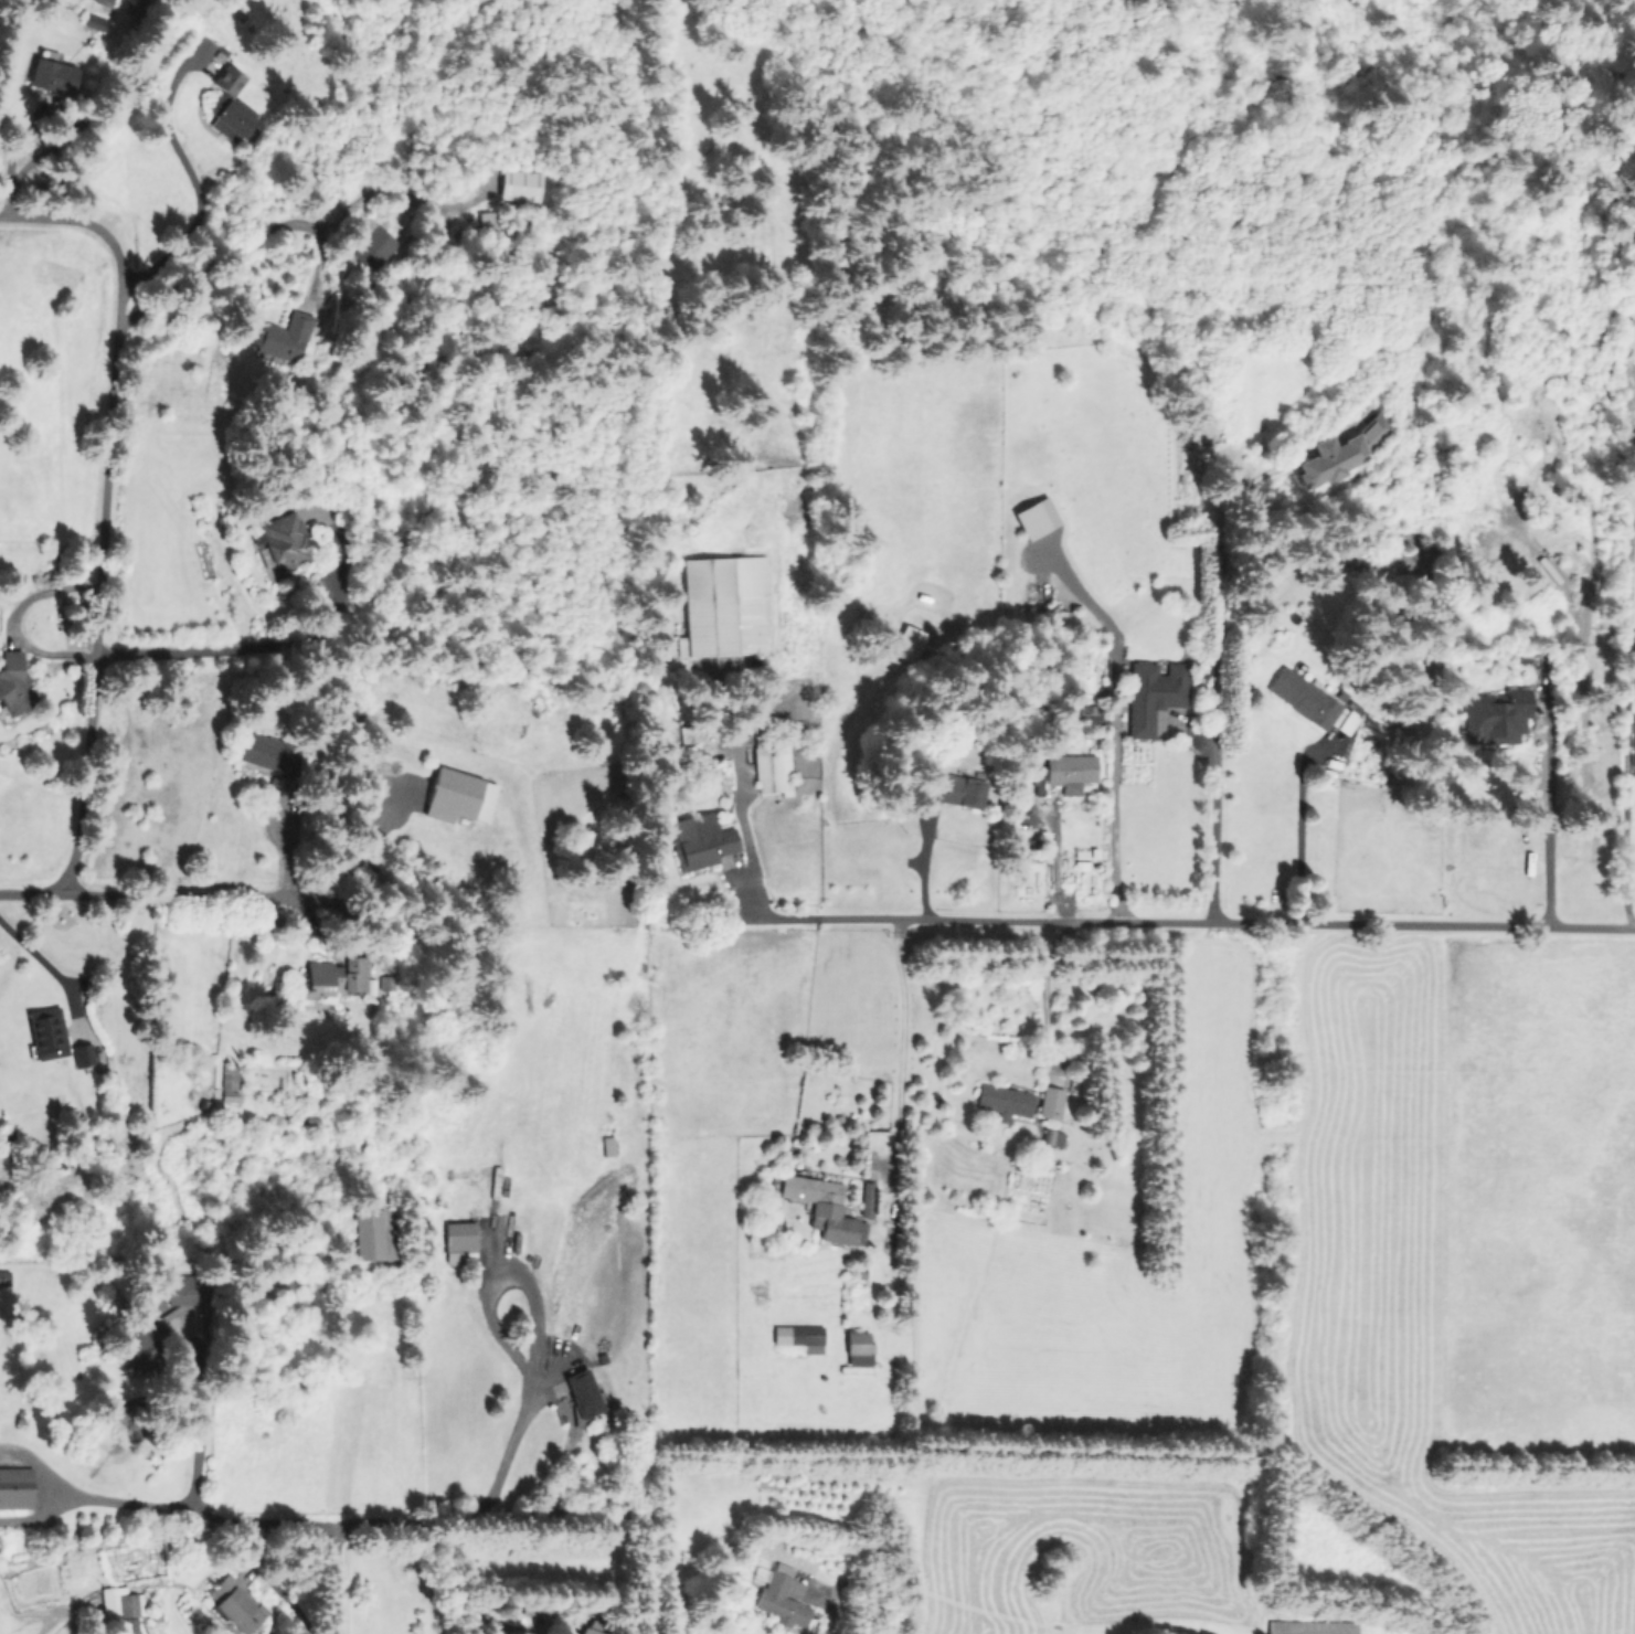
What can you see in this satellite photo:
building: (103, 2)
building: (52, 76)
building: (230, 106)
road: (193, 184)
road: (39, 217)
building: (370, 244)
building: (283, 337)
building: (1342, 450)
building: (1036, 518)
building: (284, 539)
road: (99, 547)
building: (722, 605)
road: (11, 622)
building: (907, 644)
road: (195, 652)
building: (13, 683)
building: (1154, 693)
building: (1313, 701)
building: (1087, 713)
building: (1495, 717)
road: (1627, 721)
road: (1114, 753)
building: (268, 757)
building: (771, 766)
building: (1069, 772)
building: (952, 788)
building: (458, 796)
road: (1212, 819)
road: (1546, 821)
road: (1298, 838)
building: (699, 840)
road: (745, 841)
road: (363, 885)
road: (144, 894)
road: (1209, 923)
road: (40, 957)
building: (333, 977)
building: (384, 984)
road: (1050, 996)
building: (46, 1032)
road: (901, 1038)
building: (82, 1054)
building: (1004, 1101)
building: (1050, 1102)
building: (1052, 1137)
building: (866, 1199)
building: (824, 1208)
building: (374, 1233)
building: (457, 1241)
building: (3, 1277)
building: (187, 1288)
building: (799, 1337)
building: (144, 1345)
building: (857, 1348)
building: (582, 1392)
road: (197, 1417)
road: (502, 1461)
building: (15, 1487)
road: (118, 1500)
road: (319, 1524)
road: (339, 1580)
building: (782, 1599)
building: (234, 1603)
building: (127, 1625)
building: (1313, 1626)
building: (586, 1631)

